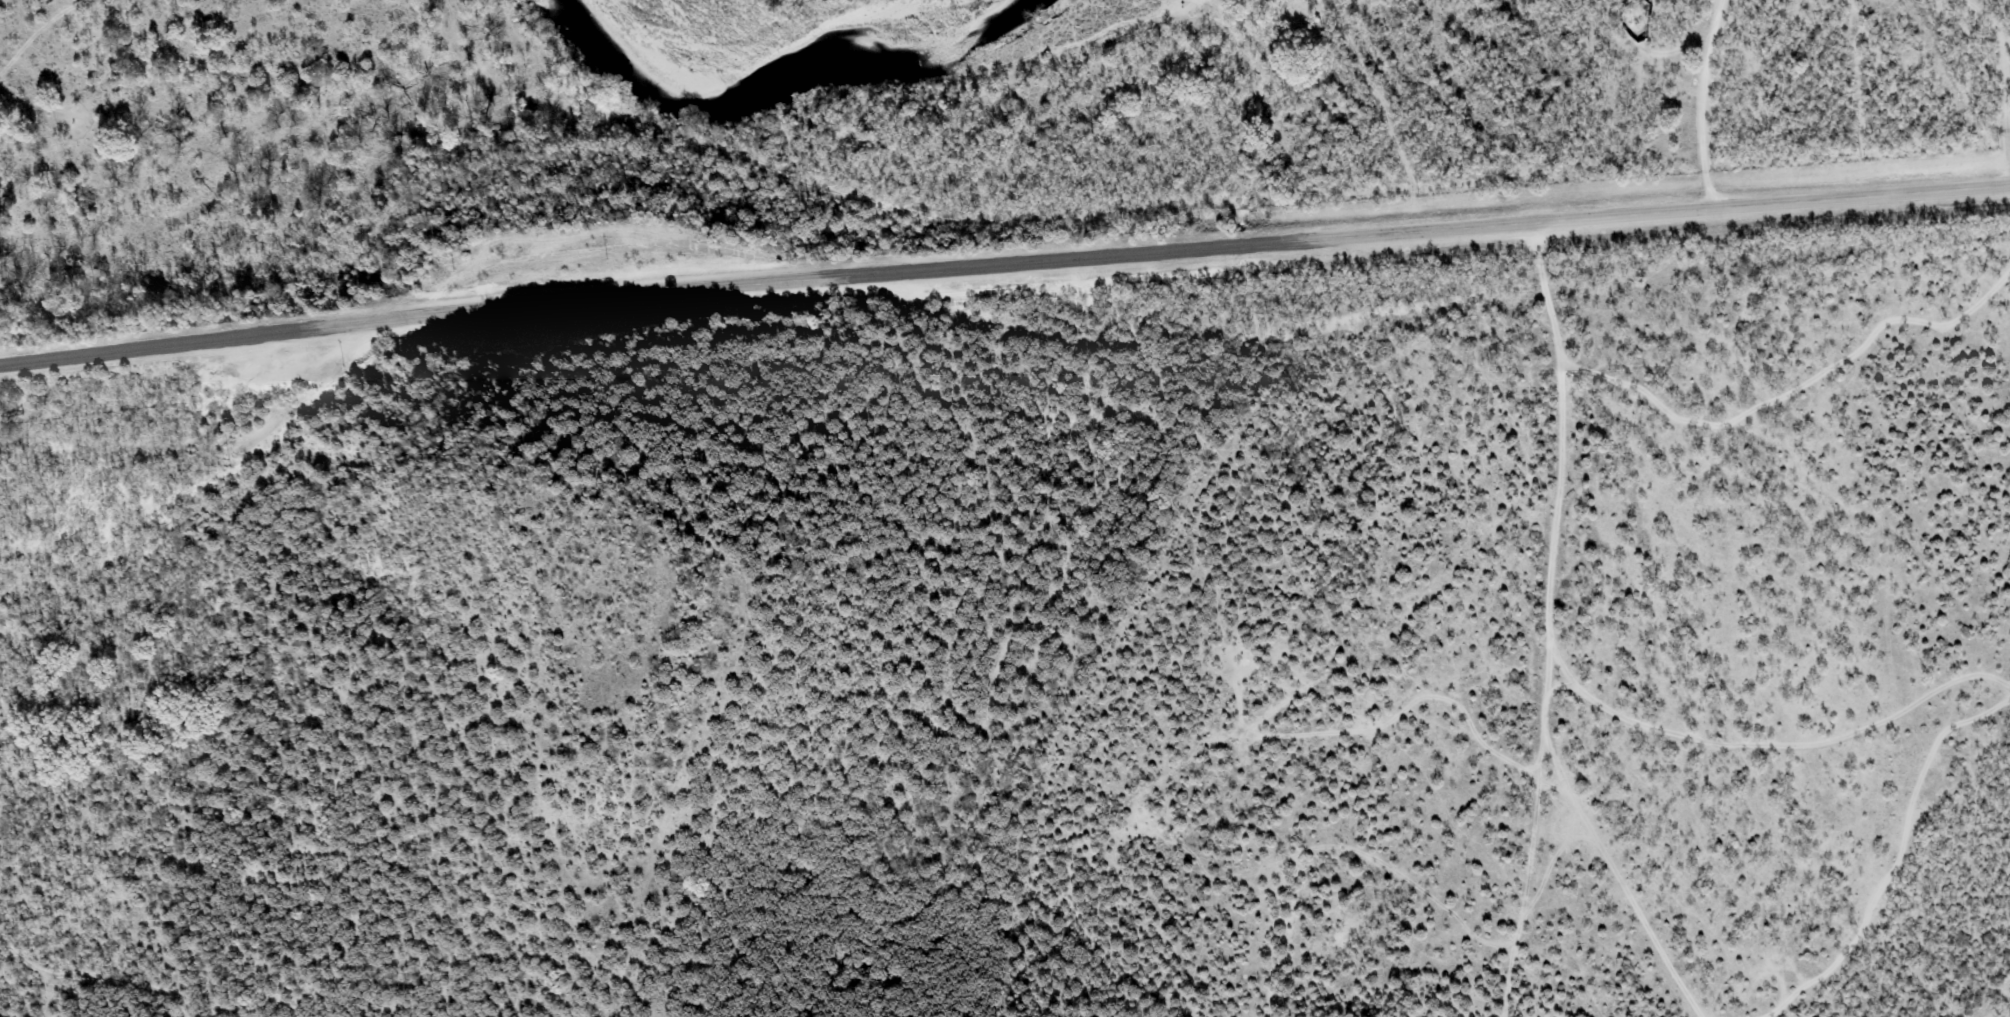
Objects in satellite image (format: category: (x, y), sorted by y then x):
river: (832, 83)
road: (1699, 106)
road: (1003, 267)
road: (1545, 622)

